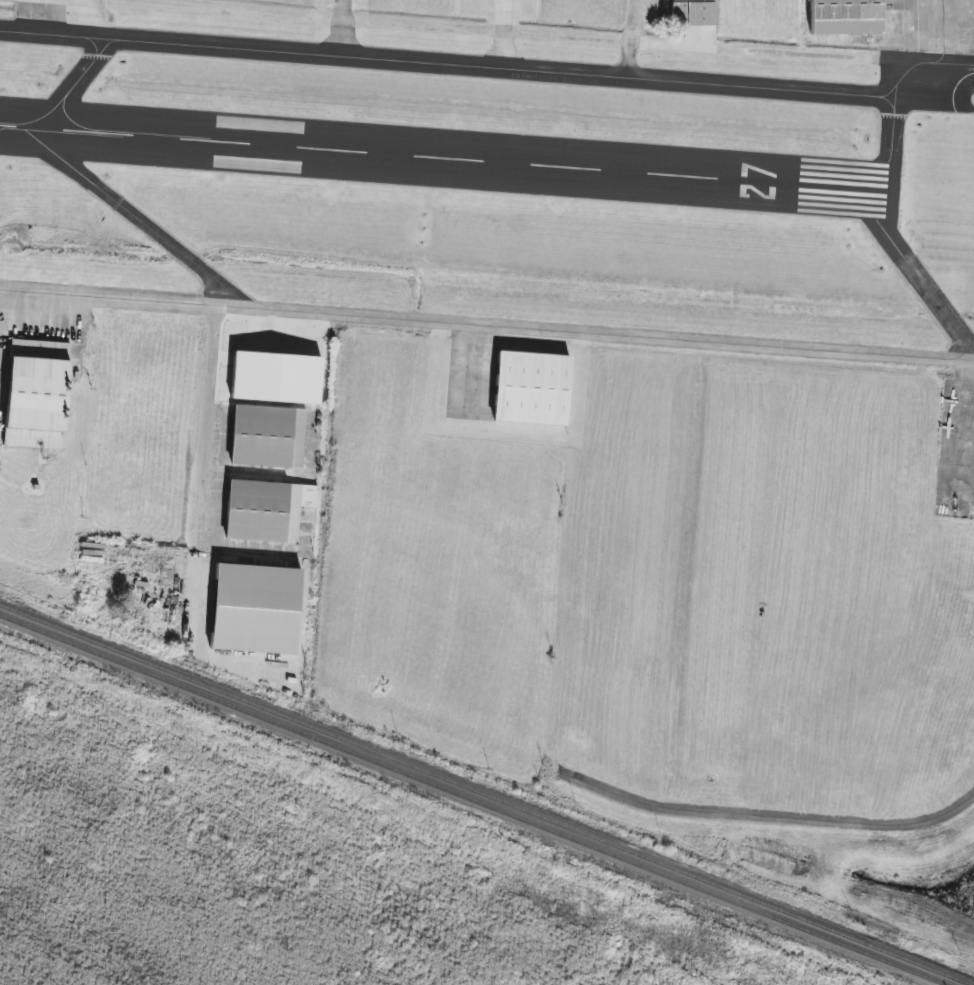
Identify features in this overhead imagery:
airport apron: (48, 10)
airport apron: (647, 11)
airport hangar: (693, 13)
building: (693, 13)
airport hangar: (844, 17)
building: (844, 17)
airport apron: (341, 26)
airport apron: (503, 31)
airport taxiway: (632, 32)
road: (521, 33)
airport taxiway: (341, 34)
airport apron: (928, 40)
airport taxiway: (490, 57)
airport taxiway: (476, 77)
airport runway: (900, 191)
airport taxiway: (864, 226)
airport taxiway: (251, 301)
airport taxiway: (202, 305)
airport taxiway: (202, 308)
airport apron: (40, 339)
airport apron: (486, 367)
building: (275, 378)
airport: (526, 388)
building: (530, 389)
airport hangar: (34, 394)
building: (34, 394)
airport hangar: (267, 437)
building: (267, 437)
airport apron: (956, 448)
airport hangar: (265, 510)
building: (265, 510)
building: (255, 609)
railway: (482, 795)
railway: (470, 800)

